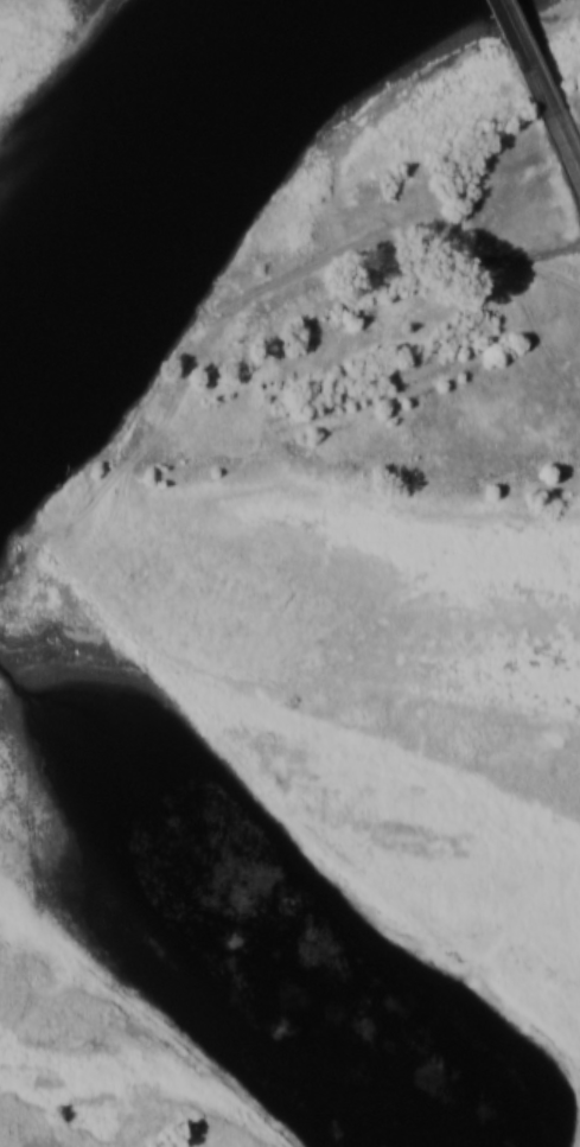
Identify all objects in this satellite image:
road: (524, 56)
road: (565, 141)
river: (135, 146)
road: (359, 203)
road: (295, 269)

